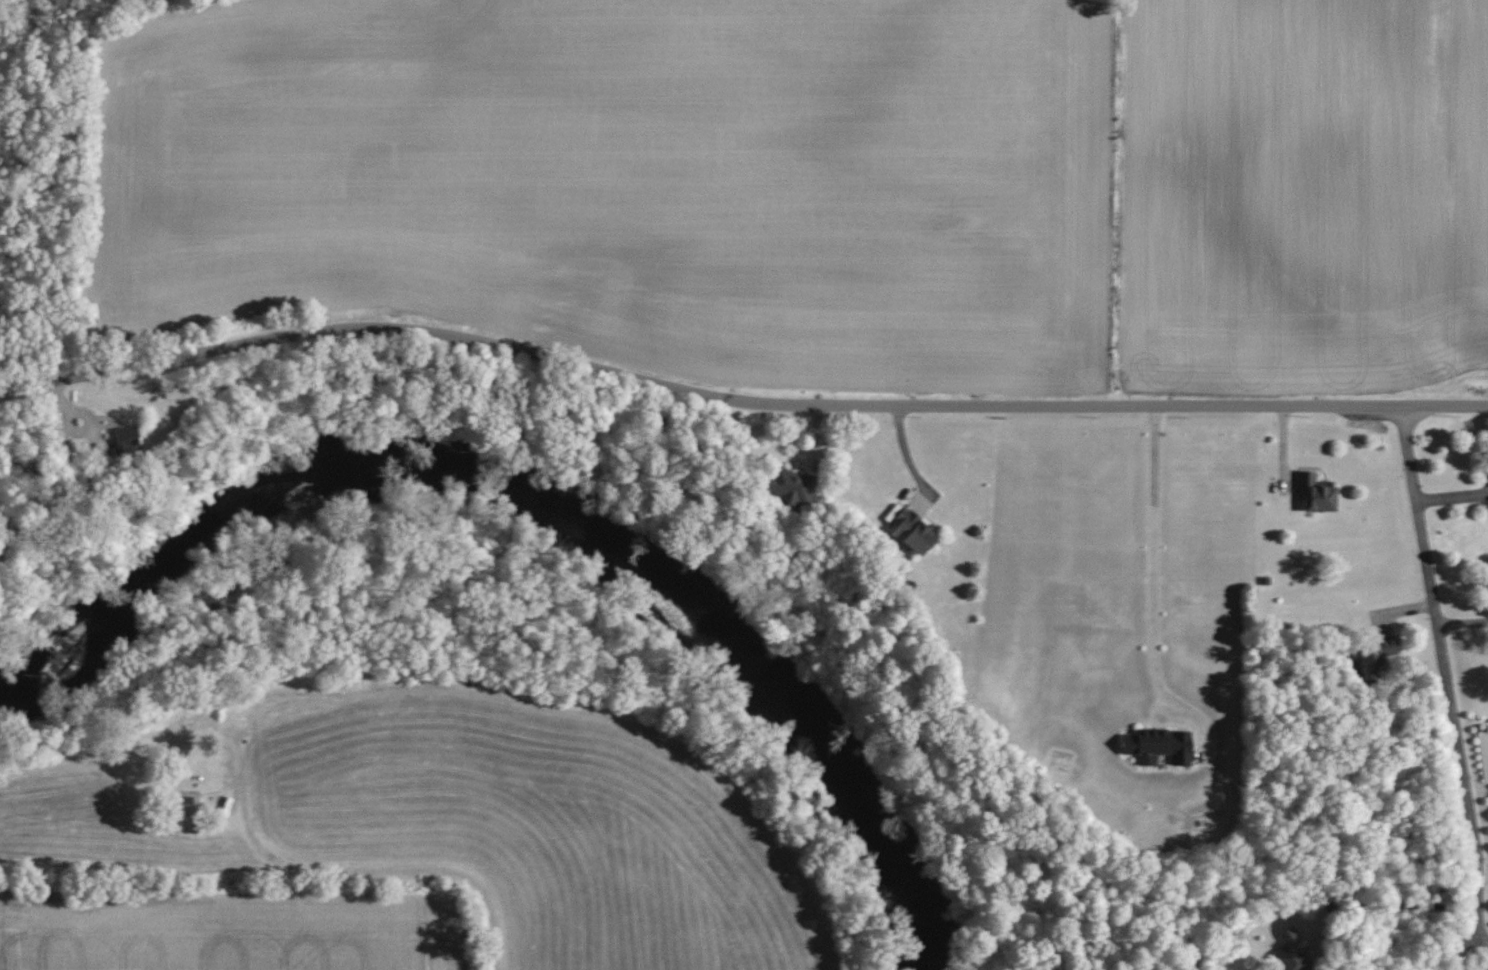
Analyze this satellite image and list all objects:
road: (737, 401)
building: (127, 437)
building: (795, 486)
building: (1318, 491)
river: (542, 526)
building: (916, 530)
road: (1153, 584)
building: (1379, 656)
road: (1444, 672)
building: (1161, 745)
road: (253, 839)
road: (1463, 945)
building: (1296, 950)

